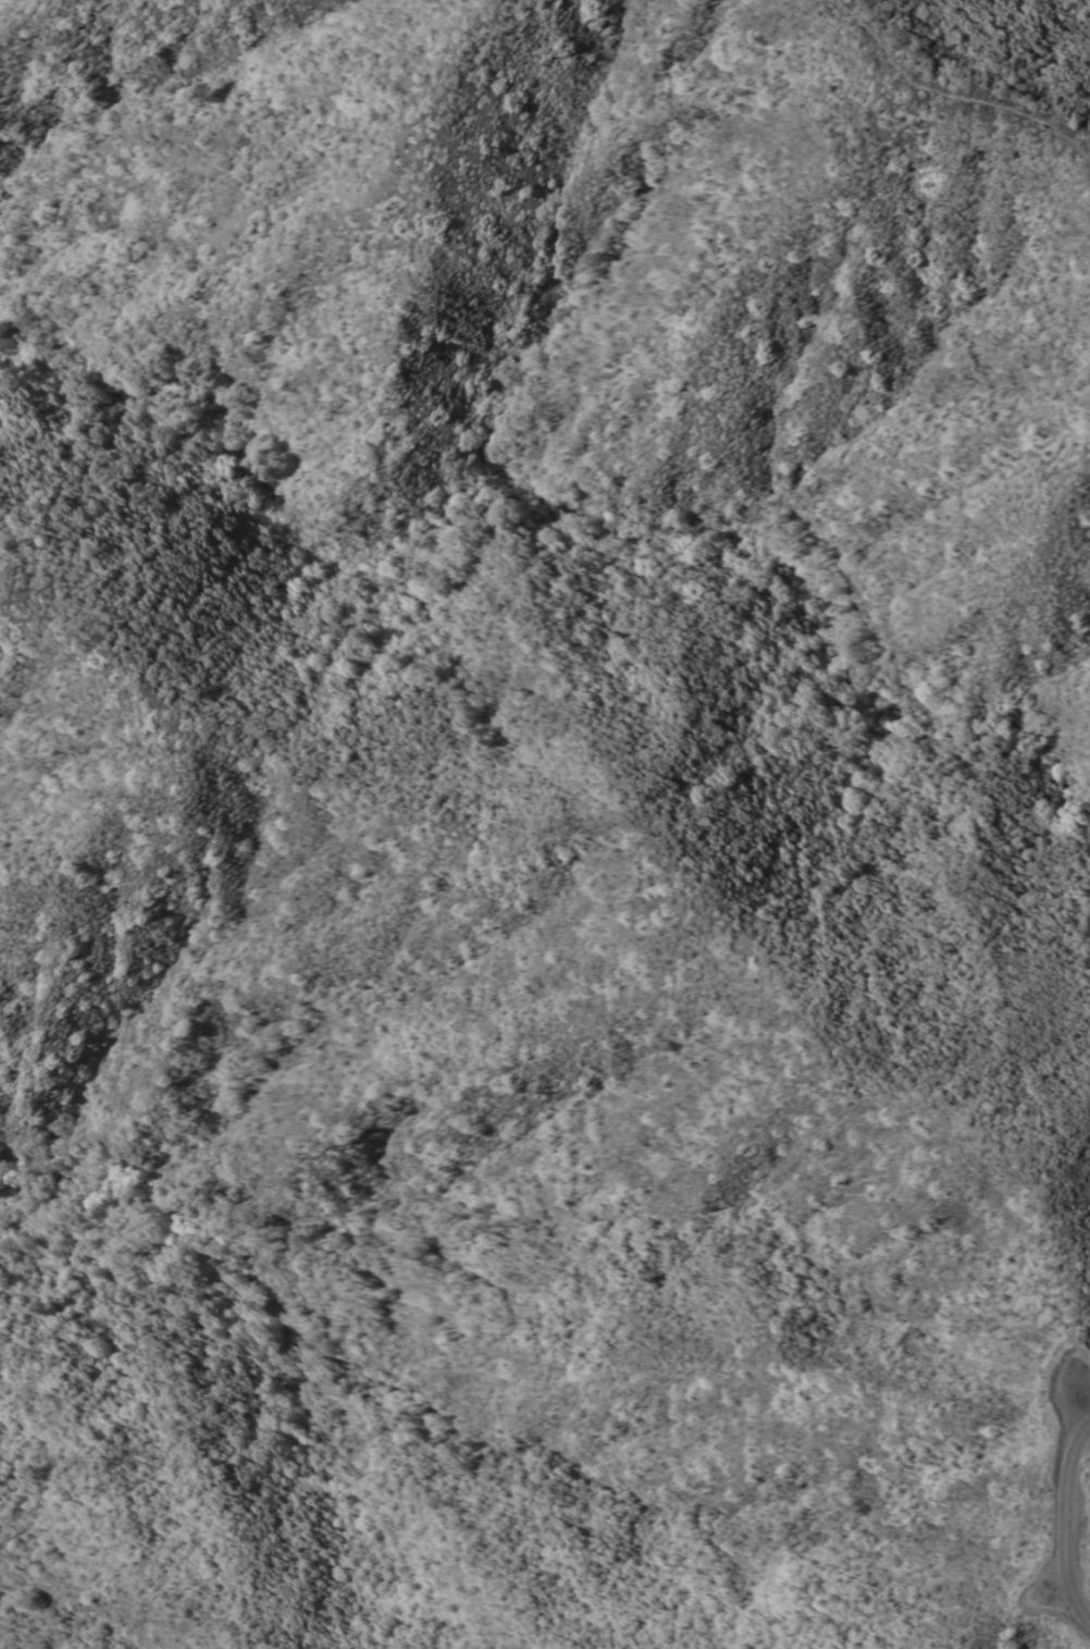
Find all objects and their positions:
parking lot: (1075, 1396)
road: (1065, 1519)
parking lot: (1055, 1586)

